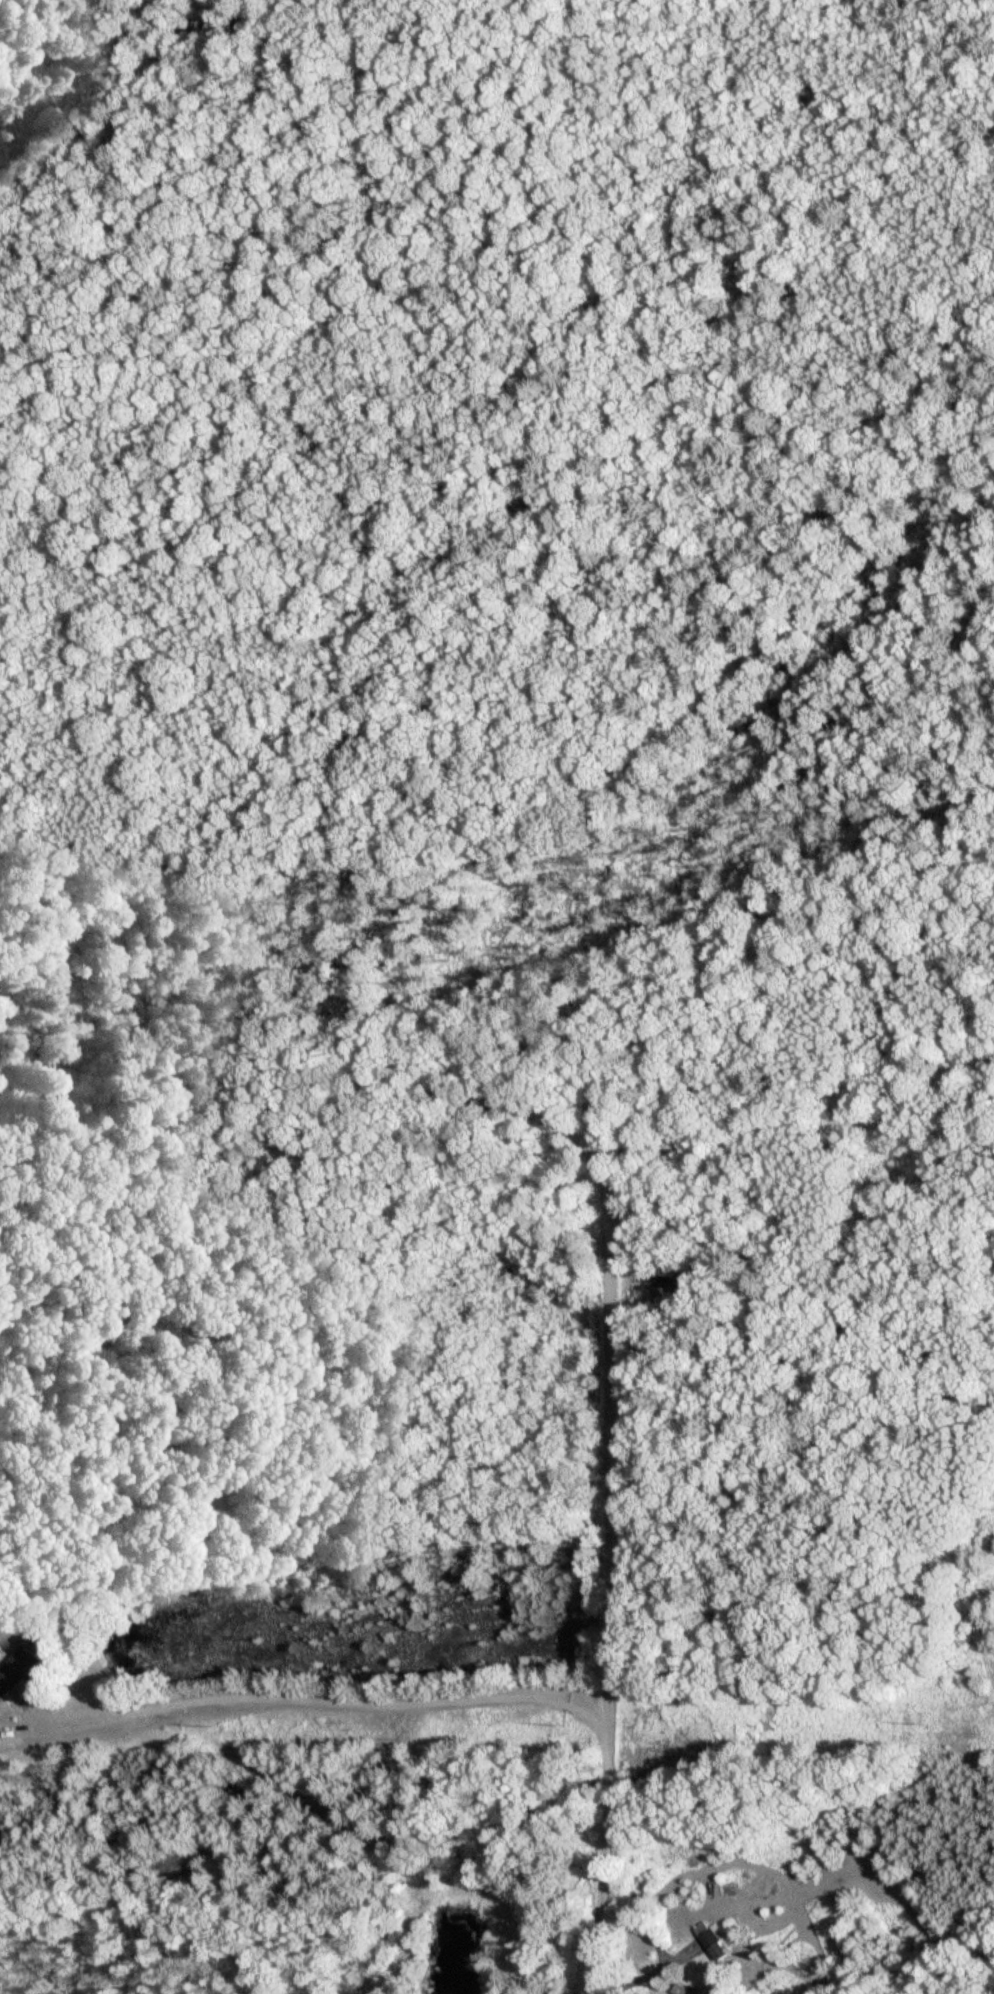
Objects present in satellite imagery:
road: (608, 1571)
building: (19, 1669)
road: (312, 1700)
building: (710, 1942)

